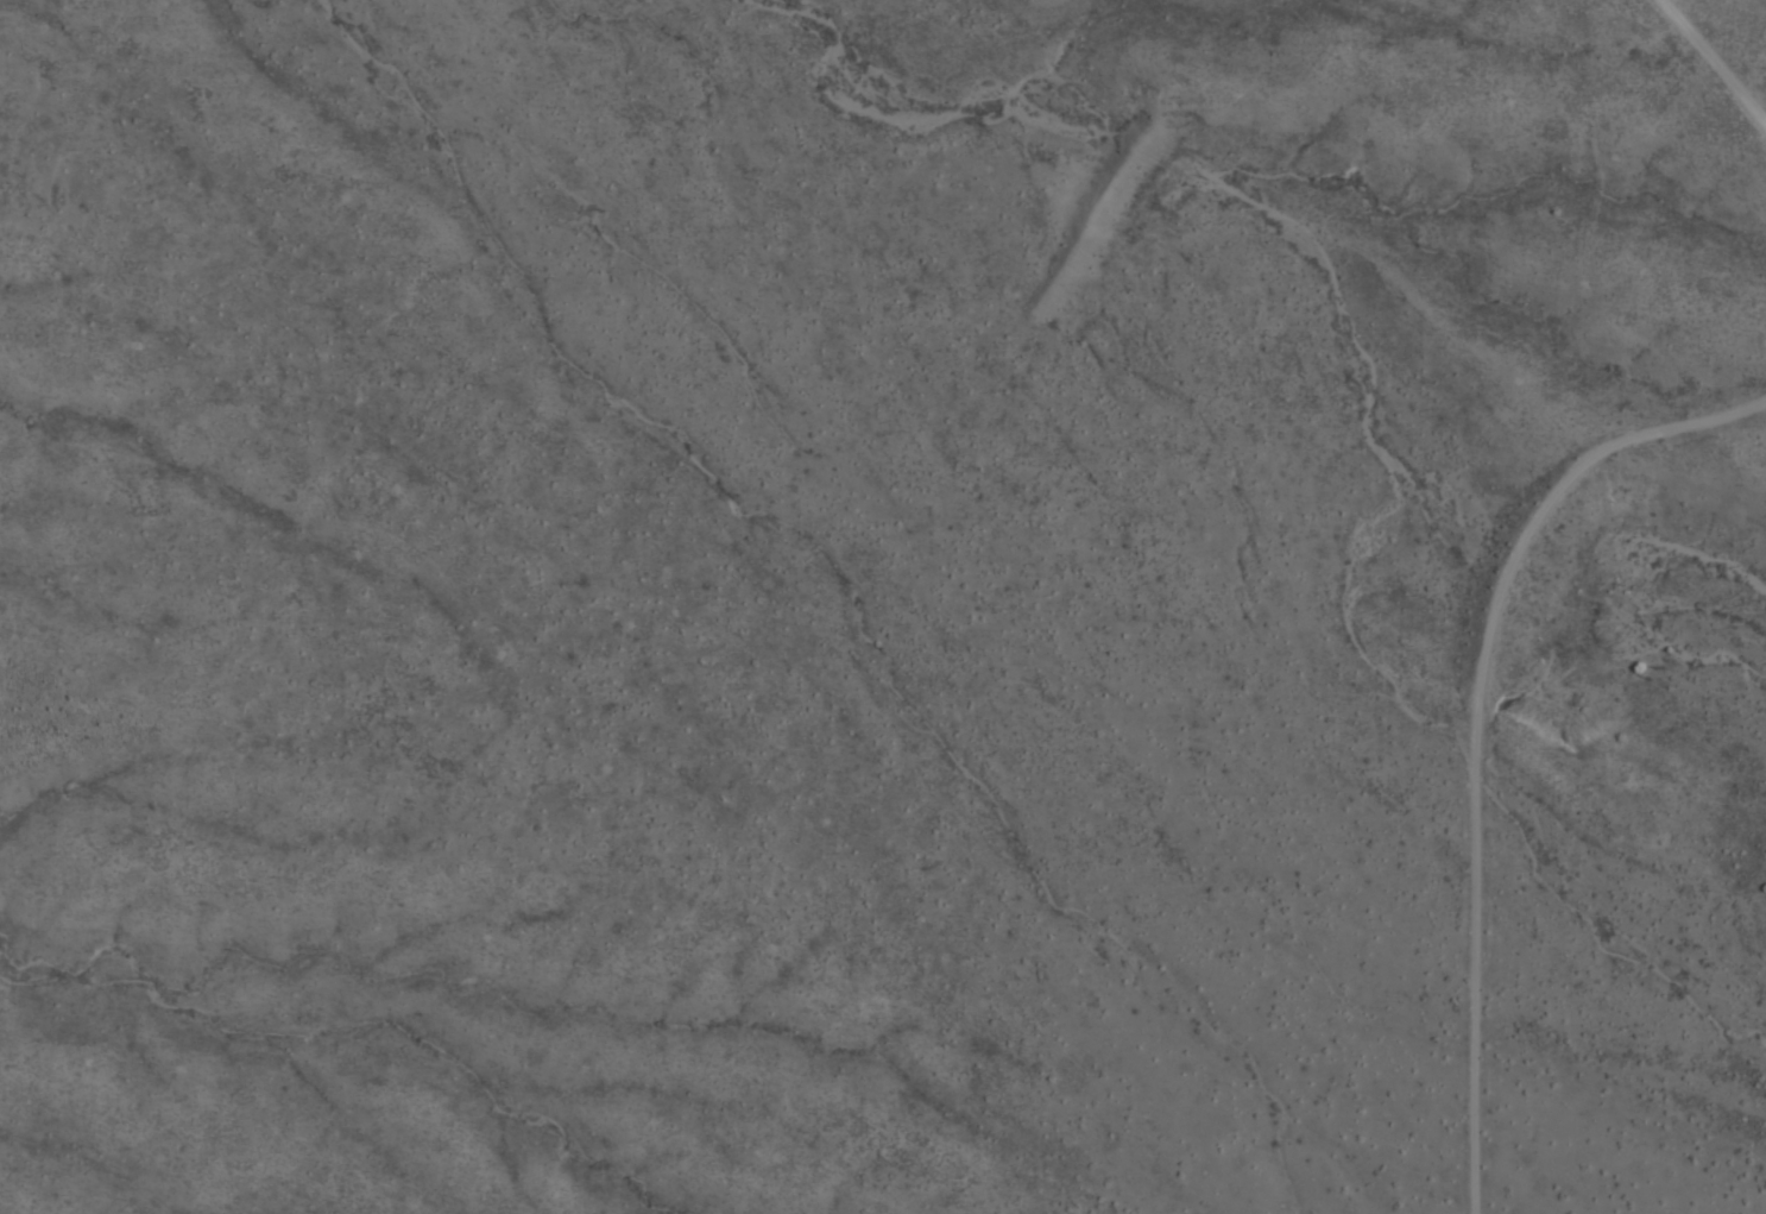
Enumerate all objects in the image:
road: (1715, 58)
road: (1477, 722)

